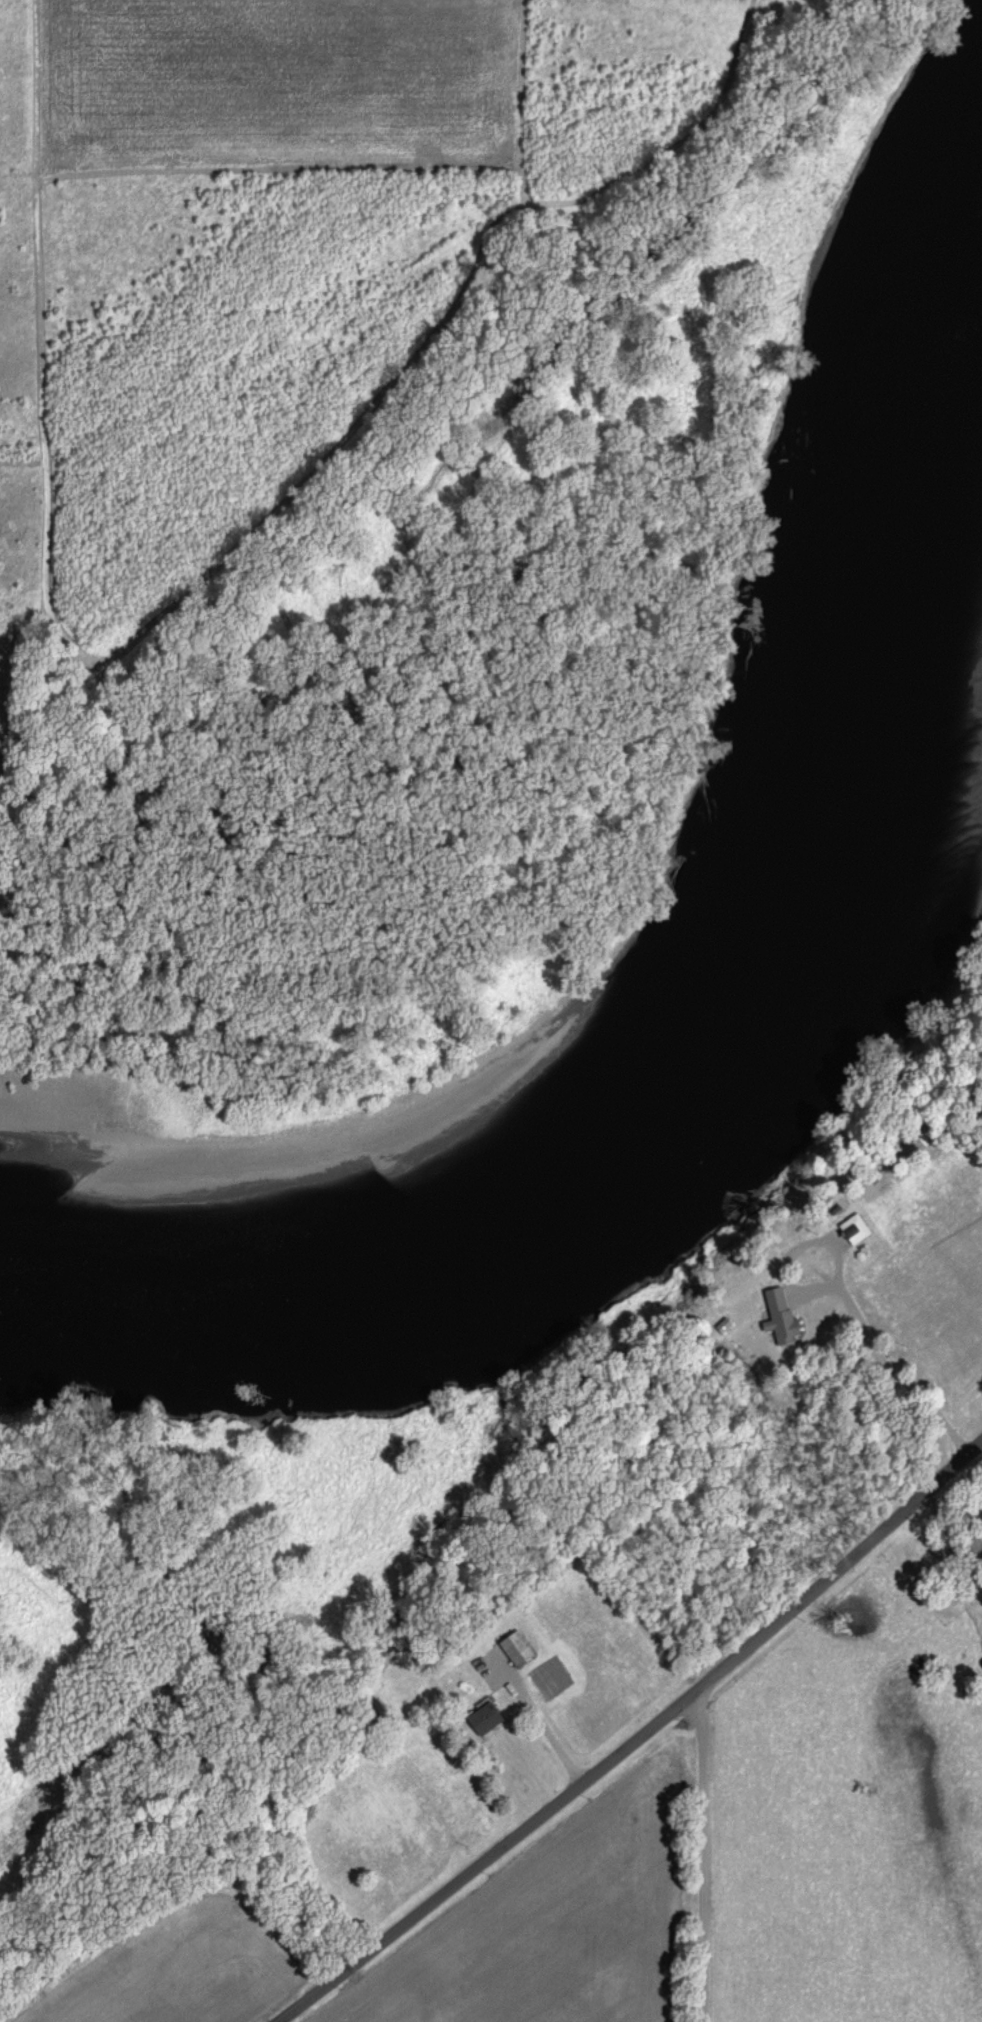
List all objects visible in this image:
river: (591, 1107)
building: (855, 1231)
road: (839, 1292)
building: (780, 1318)
building: (724, 1328)
building: (517, 1651)
building: (374, 1709)
building: (485, 1721)
road: (635, 1725)
road: (694, 1863)

